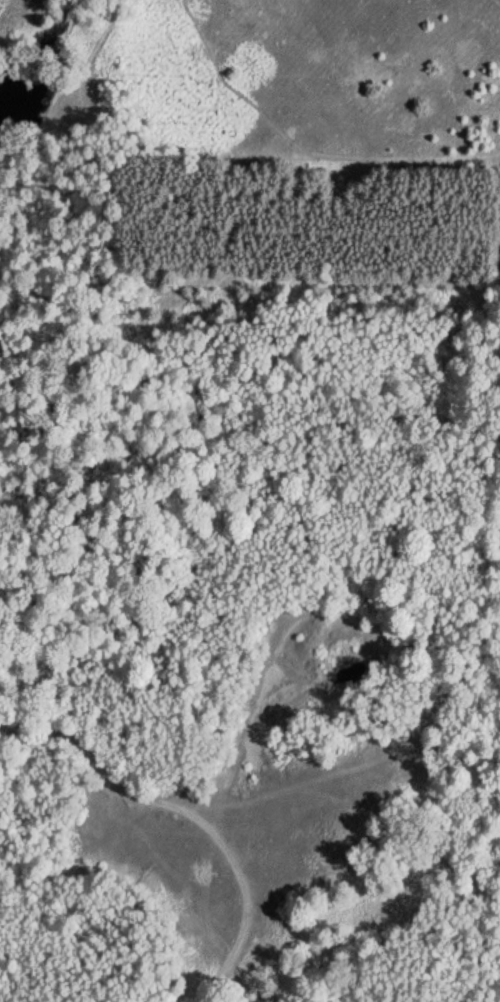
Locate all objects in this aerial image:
road: (225, 913)

